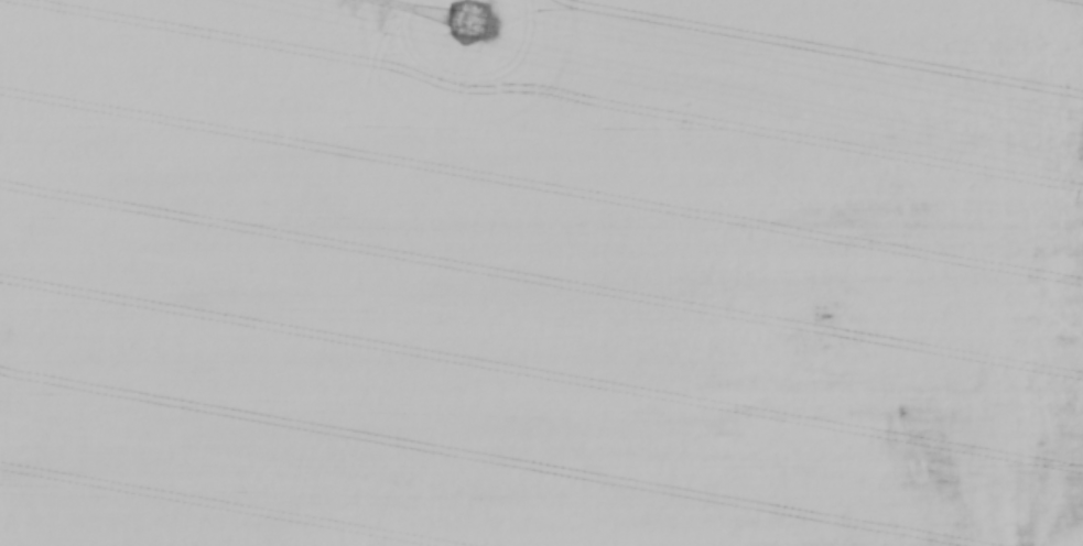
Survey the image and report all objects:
power tower: (465, 26)

